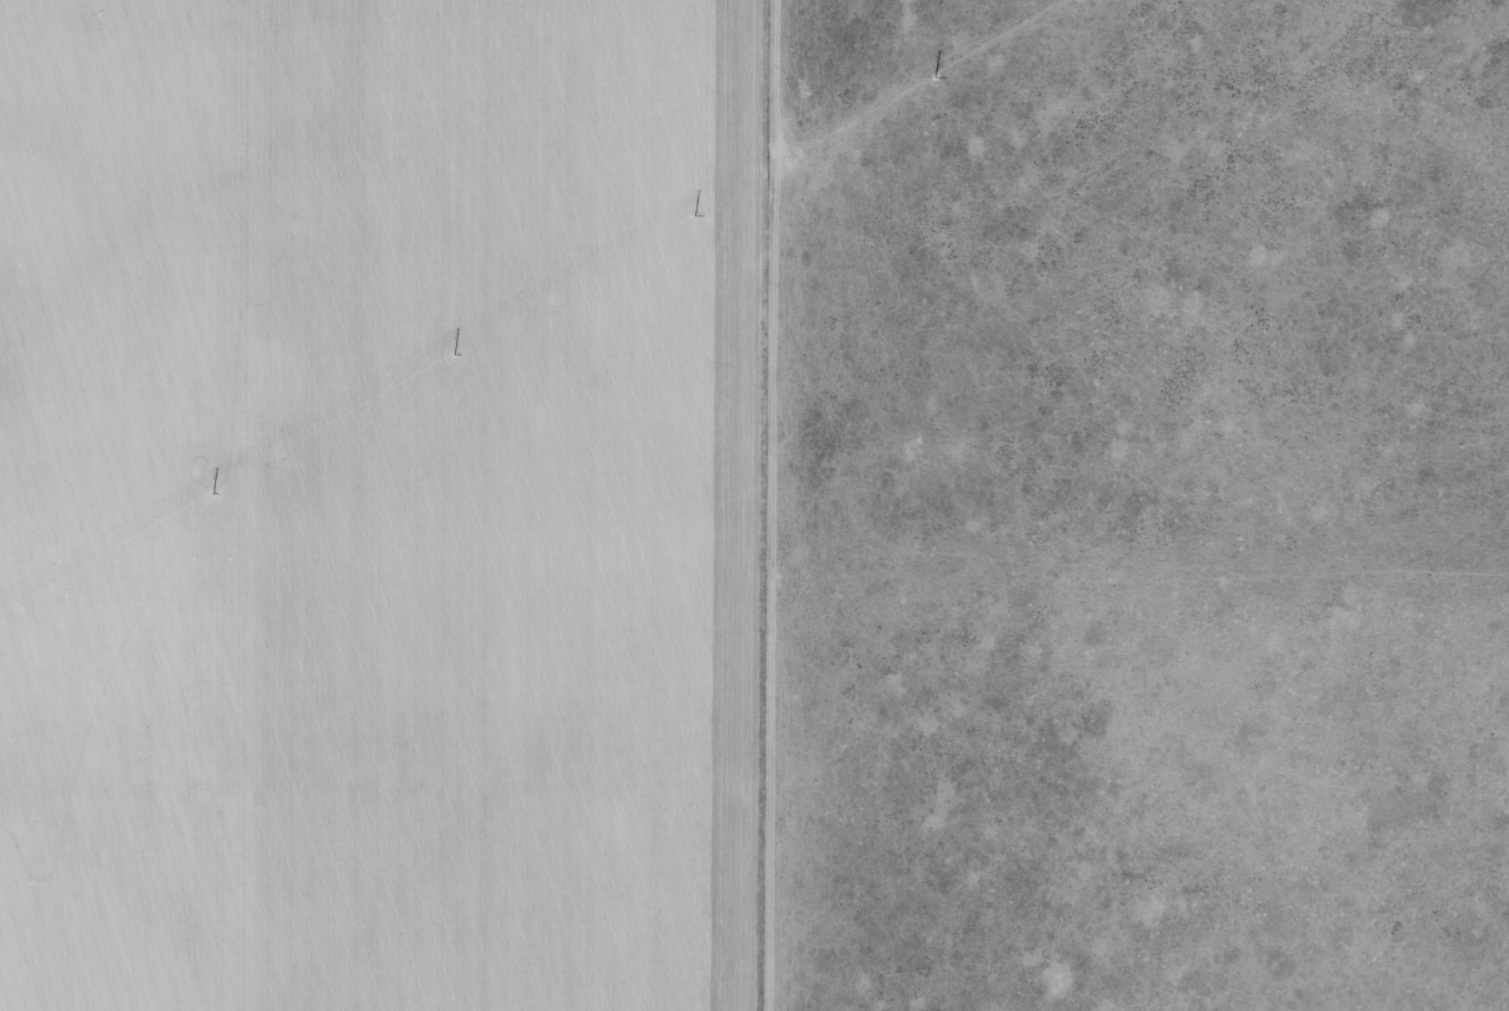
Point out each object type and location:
power tower: (813, 146)
power tower: (550, 296)
power tower: (281, 455)
power tower: (15, 605)

